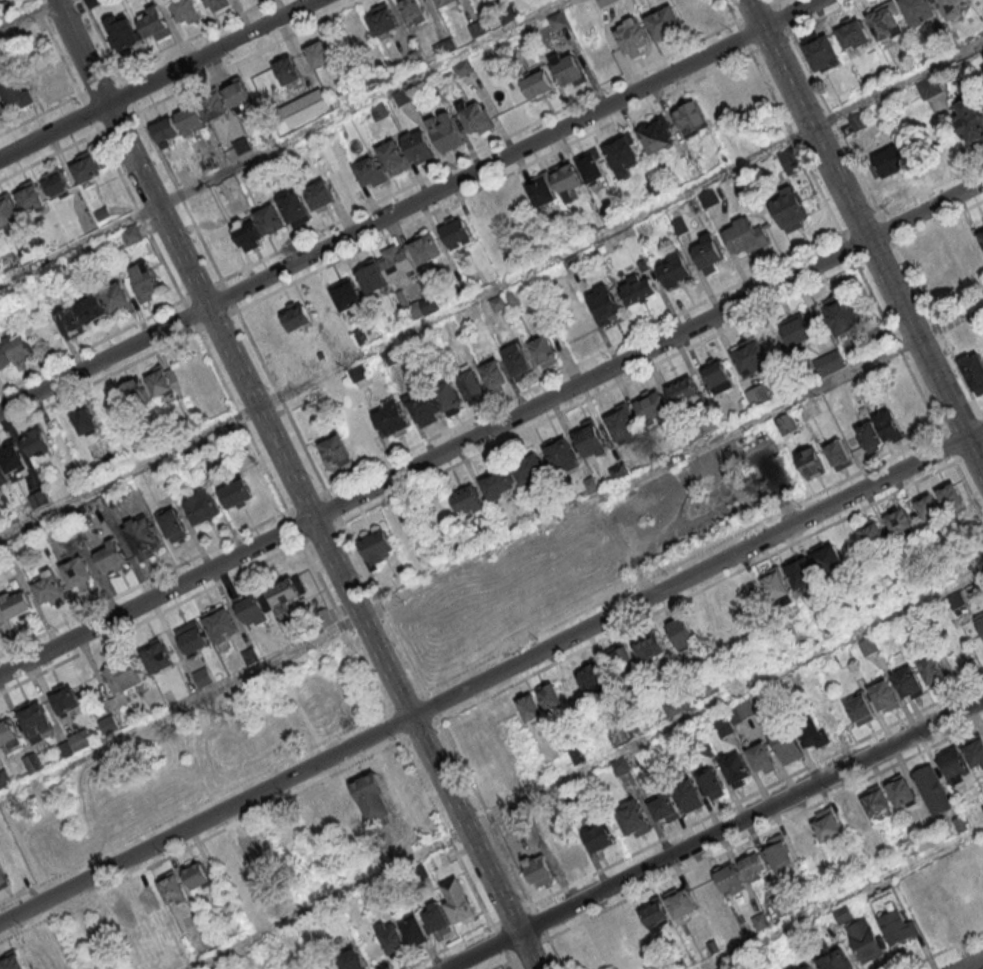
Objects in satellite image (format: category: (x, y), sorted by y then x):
road: (776, 0)
building: (448, 2)
building: (603, 2)
building: (94, 3)
building: (216, 3)
building: (951, 7)
building: (185, 10)
building: (414, 10)
building: (917, 10)
road: (730, 11)
road: (756, 11)
road: (30, 15)
road: (782, 17)
building: (383, 19)
building: (884, 19)
building: (556, 20)
building: (663, 22)
building: (155, 23)
building: (475, 28)
building: (122, 30)
building: (852, 31)
building: (630, 36)
road: (743, 37)
road: (771, 44)
road: (176, 46)
building: (444, 46)
building: (821, 51)
road: (79, 52)
building: (320, 53)
road: (249, 56)
building: (416, 57)
building: (463, 68)
building: (287, 69)
building: (569, 71)
road: (157, 78)
road: (897, 83)
building: (538, 85)
building: (928, 86)
building: (14, 90)
building: (240, 97)
building: (402, 97)
building: (214, 105)
building: (3, 111)
building: (380, 111)
building: (191, 117)
building: (475, 117)
building: (691, 118)
building: (970, 120)
building: (859, 124)
building: (166, 131)
building: (445, 131)
building: (655, 133)
road: (283, 140)
road: (844, 141)
building: (241, 144)
road: (796, 144)
building: (419, 145)
building: (622, 153)
building: (393, 157)
building: (791, 161)
building: (886, 163)
building: (86, 167)
building: (592, 168)
building: (370, 172)
building: (567, 175)
building: (56, 183)
road: (494, 183)
building: (654, 187)
building: (543, 188)
building: (320, 195)
building: (30, 196)
building: (707, 197)
road: (409, 204)
building: (293, 206)
building: (789, 208)
building: (8, 210)
building: (269, 218)
road: (939, 223)
road: (861, 224)
building: (679, 225)
road: (325, 228)
road: (888, 229)
building: (247, 232)
building: (456, 232)
building: (131, 234)
building: (745, 234)
building: (981, 234)
road: (865, 237)
building: (425, 247)
road: (849, 248)
building: (707, 252)
road: (876, 254)
building: (398, 263)
building: (570, 264)
building: (643, 265)
road: (533, 266)
building: (673, 267)
building: (373, 277)
building: (145, 280)
building: (638, 289)
building: (347, 294)
building: (510, 295)
building: (116, 296)
building: (427, 302)
building: (498, 302)
building: (604, 303)
building: (409, 305)
building: (93, 307)
building: (841, 313)
building: (295, 316)
building: (70, 322)
road: (949, 322)
building: (796, 328)
road: (938, 328)
building: (18, 348)
building: (543, 350)
building: (4, 357)
building: (750, 357)
building: (516, 359)
road: (583, 363)
building: (973, 371)
building: (358, 372)
building: (493, 375)
building: (717, 375)
building: (471, 382)
building: (161, 384)
building: (686, 391)
road: (599, 392)
building: (759, 393)
building: (135, 395)
building: (449, 396)
road: (281, 402)
building: (651, 406)
building: (424, 407)
road: (981, 411)
road: (981, 415)
building: (389, 419)
building: (84, 420)
road: (959, 421)
building: (622, 423)
building: (786, 424)
building: (889, 426)
road: (491, 427)
building: (870, 435)
building: (589, 438)
building: (36, 441)
road: (947, 447)
building: (334, 450)
building: (562, 454)
building: (839, 454)
building: (12, 455)
road: (969, 455)
building: (810, 462)
building: (529, 467)
road: (127, 471)
building: (2, 476)
building: (497, 480)
road: (969, 490)
building: (235, 493)
building: (951, 495)
building: (37, 498)
building: (467, 500)
building: (203, 505)
building: (928, 507)
building: (899, 521)
building: (172, 523)
road: (745, 531)
building: (874, 533)
road: (319, 537)
building: (143, 538)
building: (375, 548)
building: (109, 553)
building: (827, 559)
road: (457, 567)
building: (77, 571)
building: (801, 571)
building: (778, 584)
building: (50, 588)
building: (287, 591)
road: (697, 592)
building: (957, 600)
building: (16, 603)
building: (252, 608)
building: (980, 619)
building: (220, 624)
building: (0, 632)
building: (681, 632)
building: (192, 638)
building: (868, 645)
building: (651, 647)
building: (249, 655)
building: (157, 656)
building: (619, 657)
road: (471, 668)
building: (933, 672)
road: (491, 674)
building: (203, 676)
building: (590, 676)
building: (909, 681)
building: (124, 682)
building: (712, 687)
building: (883, 695)
building: (550, 697)
road: (723, 698)
building: (67, 699)
building: (676, 705)
building: (531, 706)
building: (860, 709)
building: (741, 712)
building: (34, 719)
building: (108, 723)
building: (722, 726)
building: (810, 731)
building: (8, 735)
building: (81, 739)
building: (786, 745)
building: (973, 747)
building: (65, 748)
building: (762, 757)
building: (32, 762)
building: (953, 763)
building: (734, 769)
building: (4, 778)
building: (710, 782)
building: (933, 789)
building: (901, 790)
building: (686, 792)
road: (757, 793)
building: (372, 798)
building: (878, 801)
building: (664, 806)
road: (486, 814)
building: (851, 814)
building: (634, 820)
building: (828, 824)
road: (713, 831)
building: (599, 836)
road: (750, 837)
building: (805, 844)
building: (778, 852)
building: (253, 854)
building: (571, 856)
building: (752, 866)
building: (539, 869)
building: (197, 875)
building: (3, 877)
building: (729, 878)
building: (172, 888)
building: (705, 891)
road: (325, 898)
road: (842, 898)
building: (149, 901)
building: (457, 901)
building: (680, 902)
building: (782, 906)
building: (123, 911)
building: (655, 914)
building: (891, 915)
building: (436, 916)
building: (760, 920)
building: (414, 929)
building: (392, 939)
building: (866, 939)
building: (712, 945)
road: (946, 950)
building: (832, 957)
building: (11, 959)
building: (352, 959)
road: (972, 963)
road: (499, 964)
road: (512, 964)
building: (794, 967)
building: (808, 967)
building: (309, 968)
building: (720, 968)

